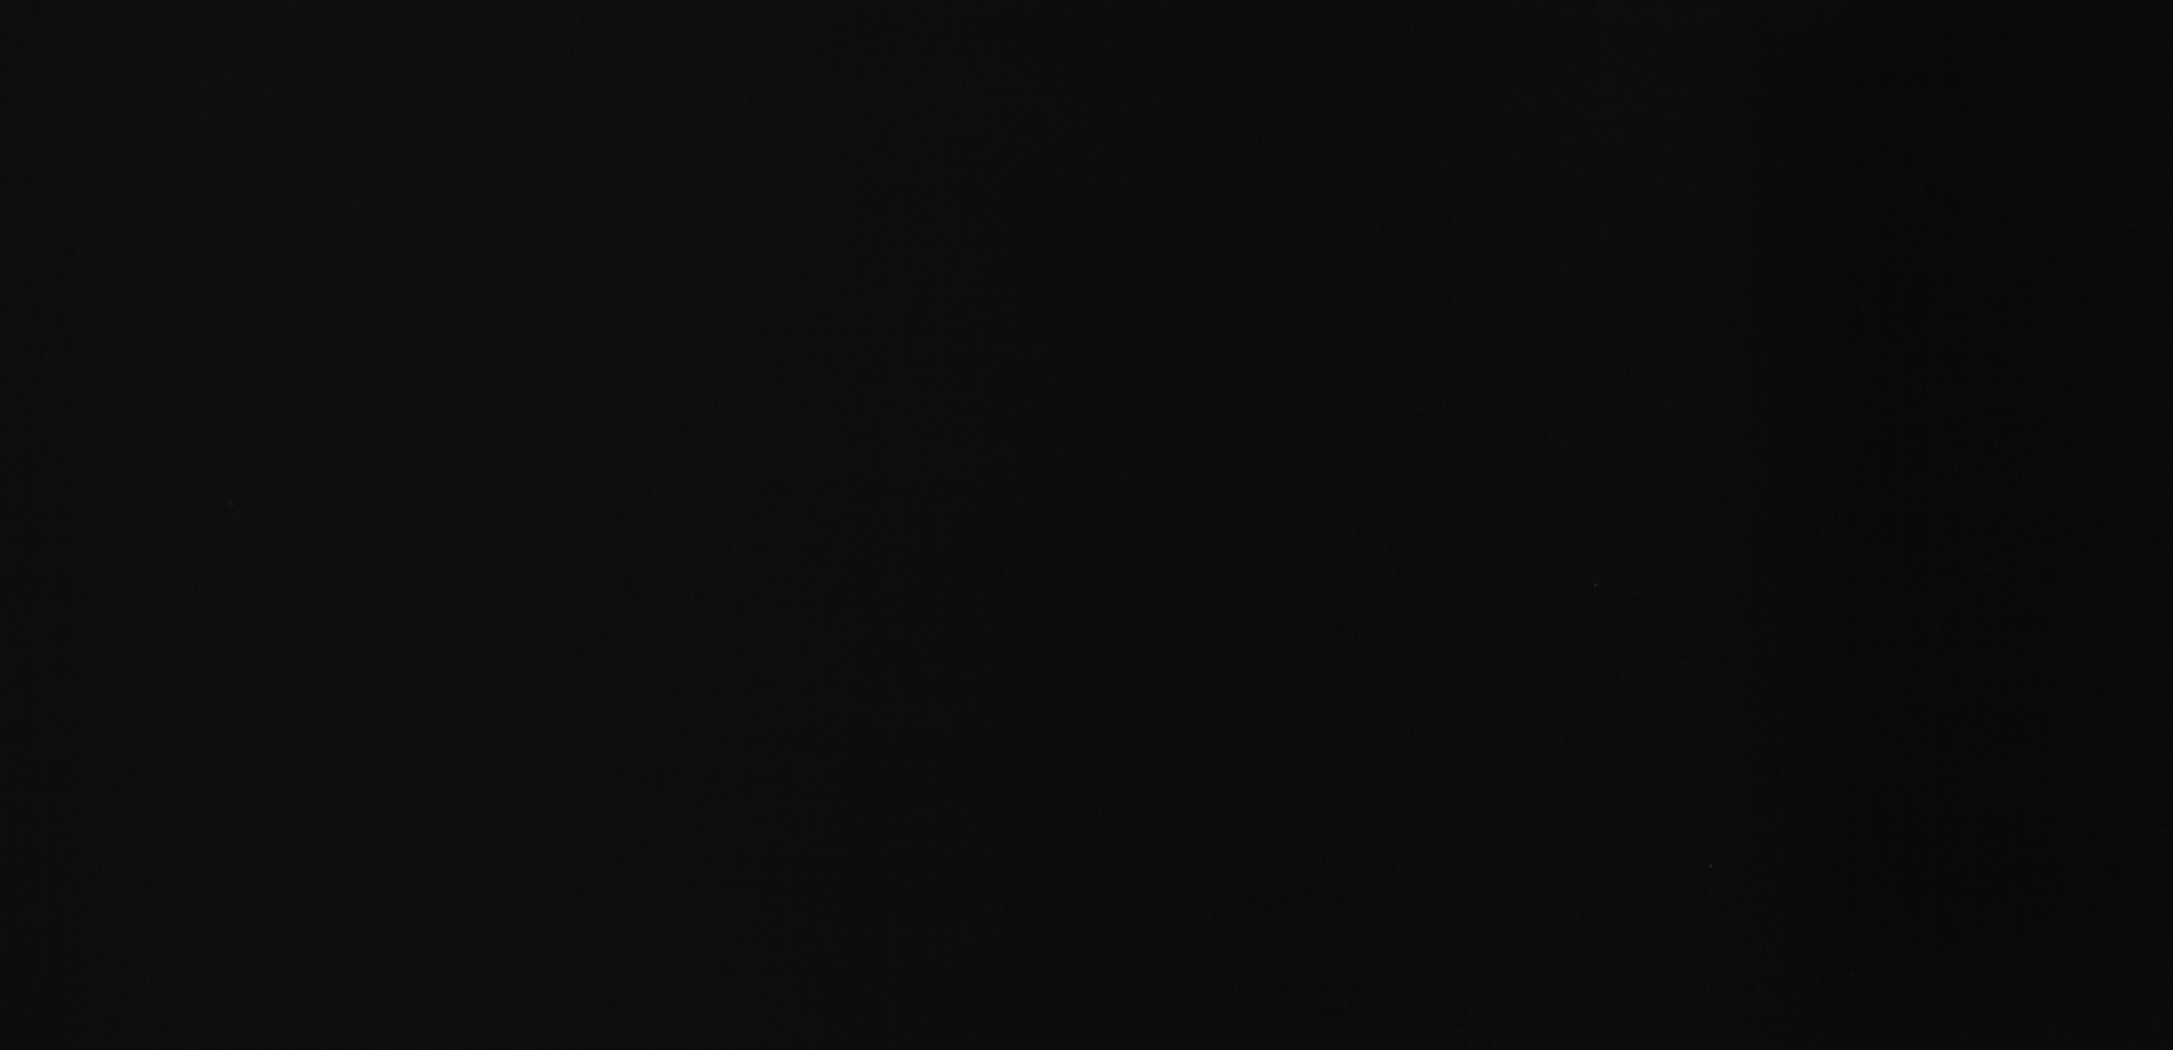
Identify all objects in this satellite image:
river: (193, 918)

